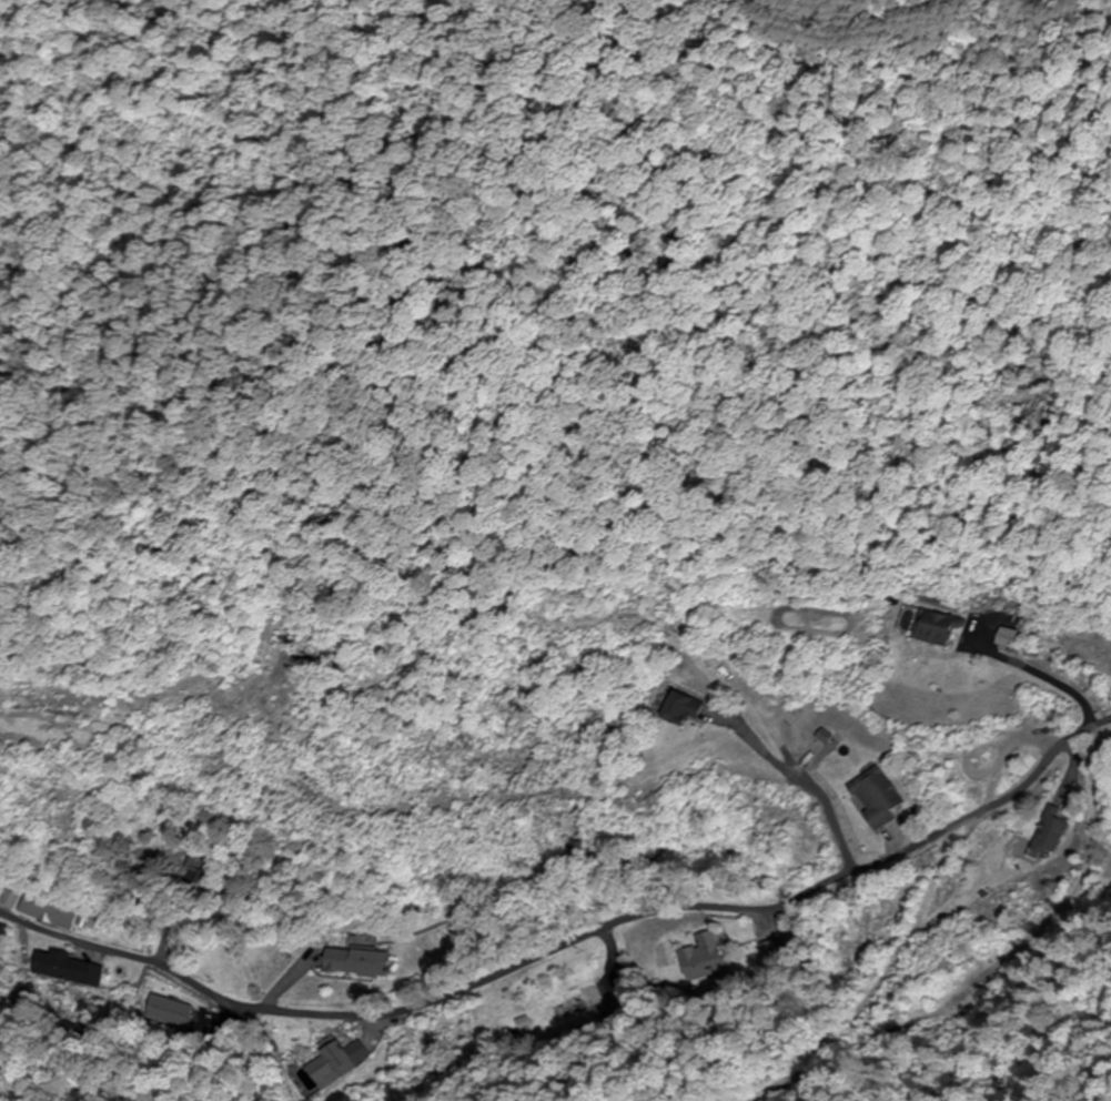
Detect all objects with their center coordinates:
building: (935, 628)
building: (1008, 640)
building: (685, 710)
building: (882, 797)
building: (1050, 832)
building: (200, 873)
building: (50, 912)
road: (567, 937)
building: (708, 956)
building: (358, 963)
building: (170, 1012)
building: (335, 1063)

